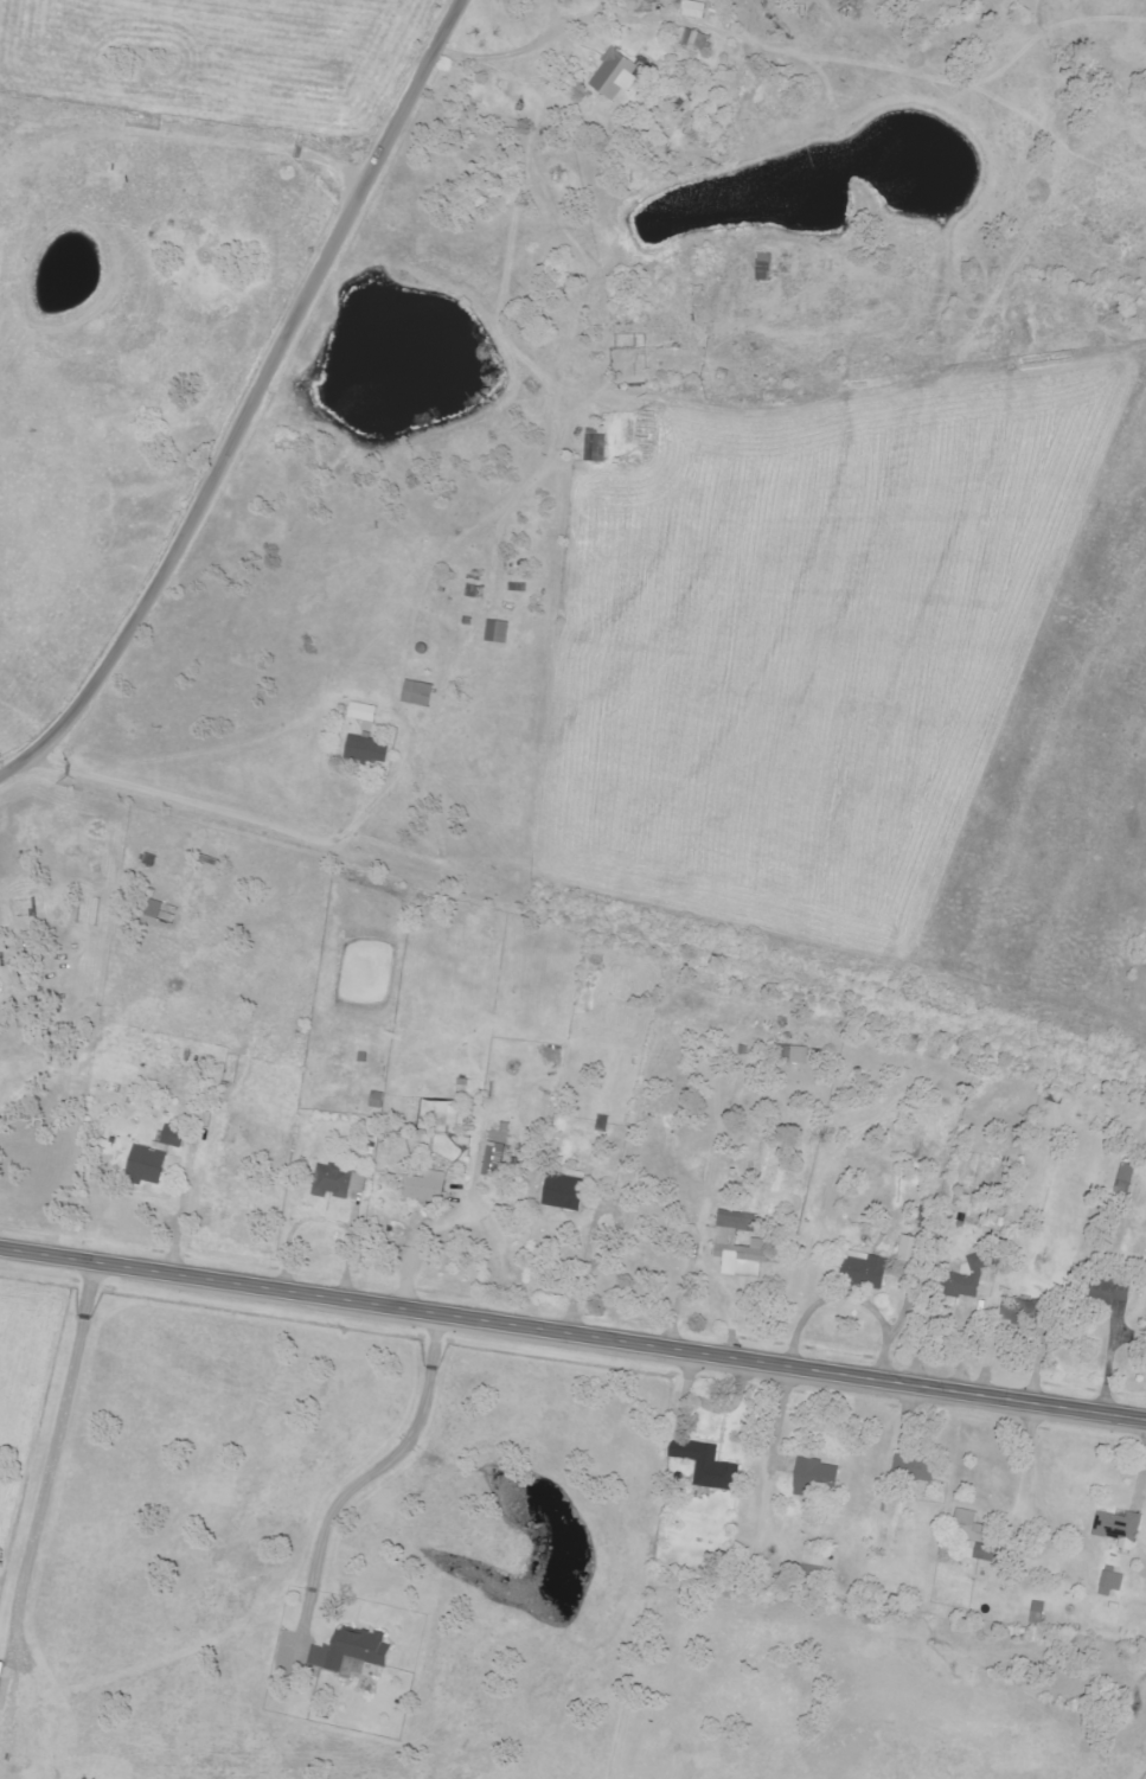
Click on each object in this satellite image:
building: (693, 9)
building: (693, 40)
building: (613, 76)
building: (762, 267)
road: (248, 403)
building: (594, 448)
building: (495, 632)
building: (415, 692)
building: (360, 711)
building: (365, 750)
road: (260, 821)
building: (151, 908)
building: (790, 1054)
building: (152, 1157)
building: (492, 1159)
building: (1125, 1173)
building: (335, 1180)
building: (424, 1186)
building: (561, 1191)
building: (724, 1242)
building: (908, 1248)
building: (862, 1268)
building: (962, 1280)
road: (572, 1335)
road: (395, 1457)
building: (703, 1463)
building: (915, 1467)
building: (814, 1478)
building: (967, 1527)
building: (1118, 1528)
building: (812, 1561)
building: (1110, 1581)
building: (1036, 1613)
building: (348, 1649)
building: (351, 1666)
building: (0, 1668)

